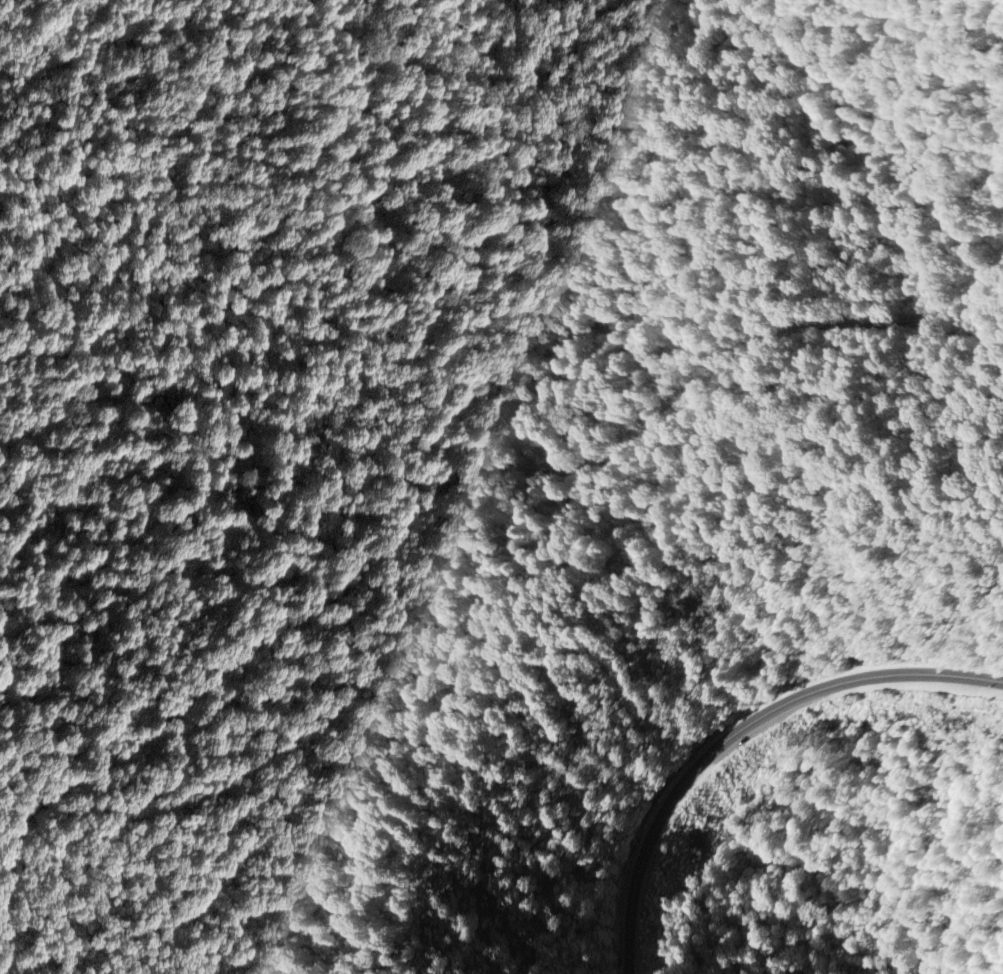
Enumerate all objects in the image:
road: (739, 732)

